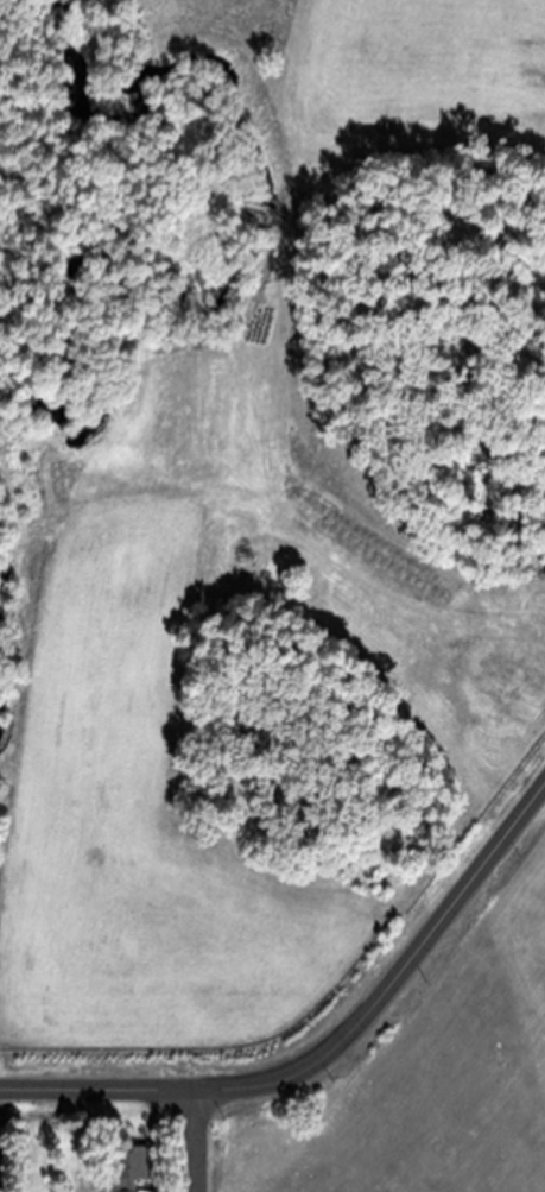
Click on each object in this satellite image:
building: (207, 467)
building: (386, 550)
building: (505, 568)
building: (474, 572)
building: (317, 593)
building: (476, 612)
building: (397, 619)
building: (426, 655)
building: (433, 711)
road: (331, 1045)
road: (197, 1140)
building: (127, 1168)

